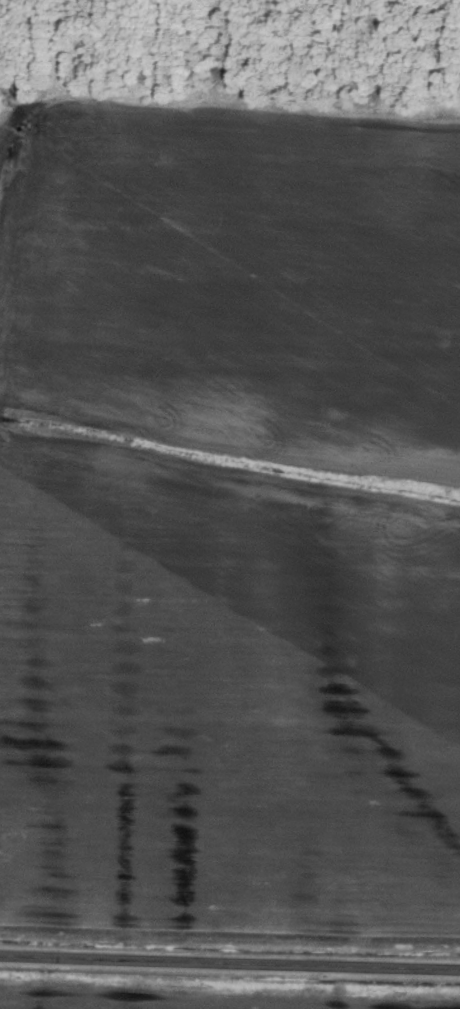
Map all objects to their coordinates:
road: (229, 964)

